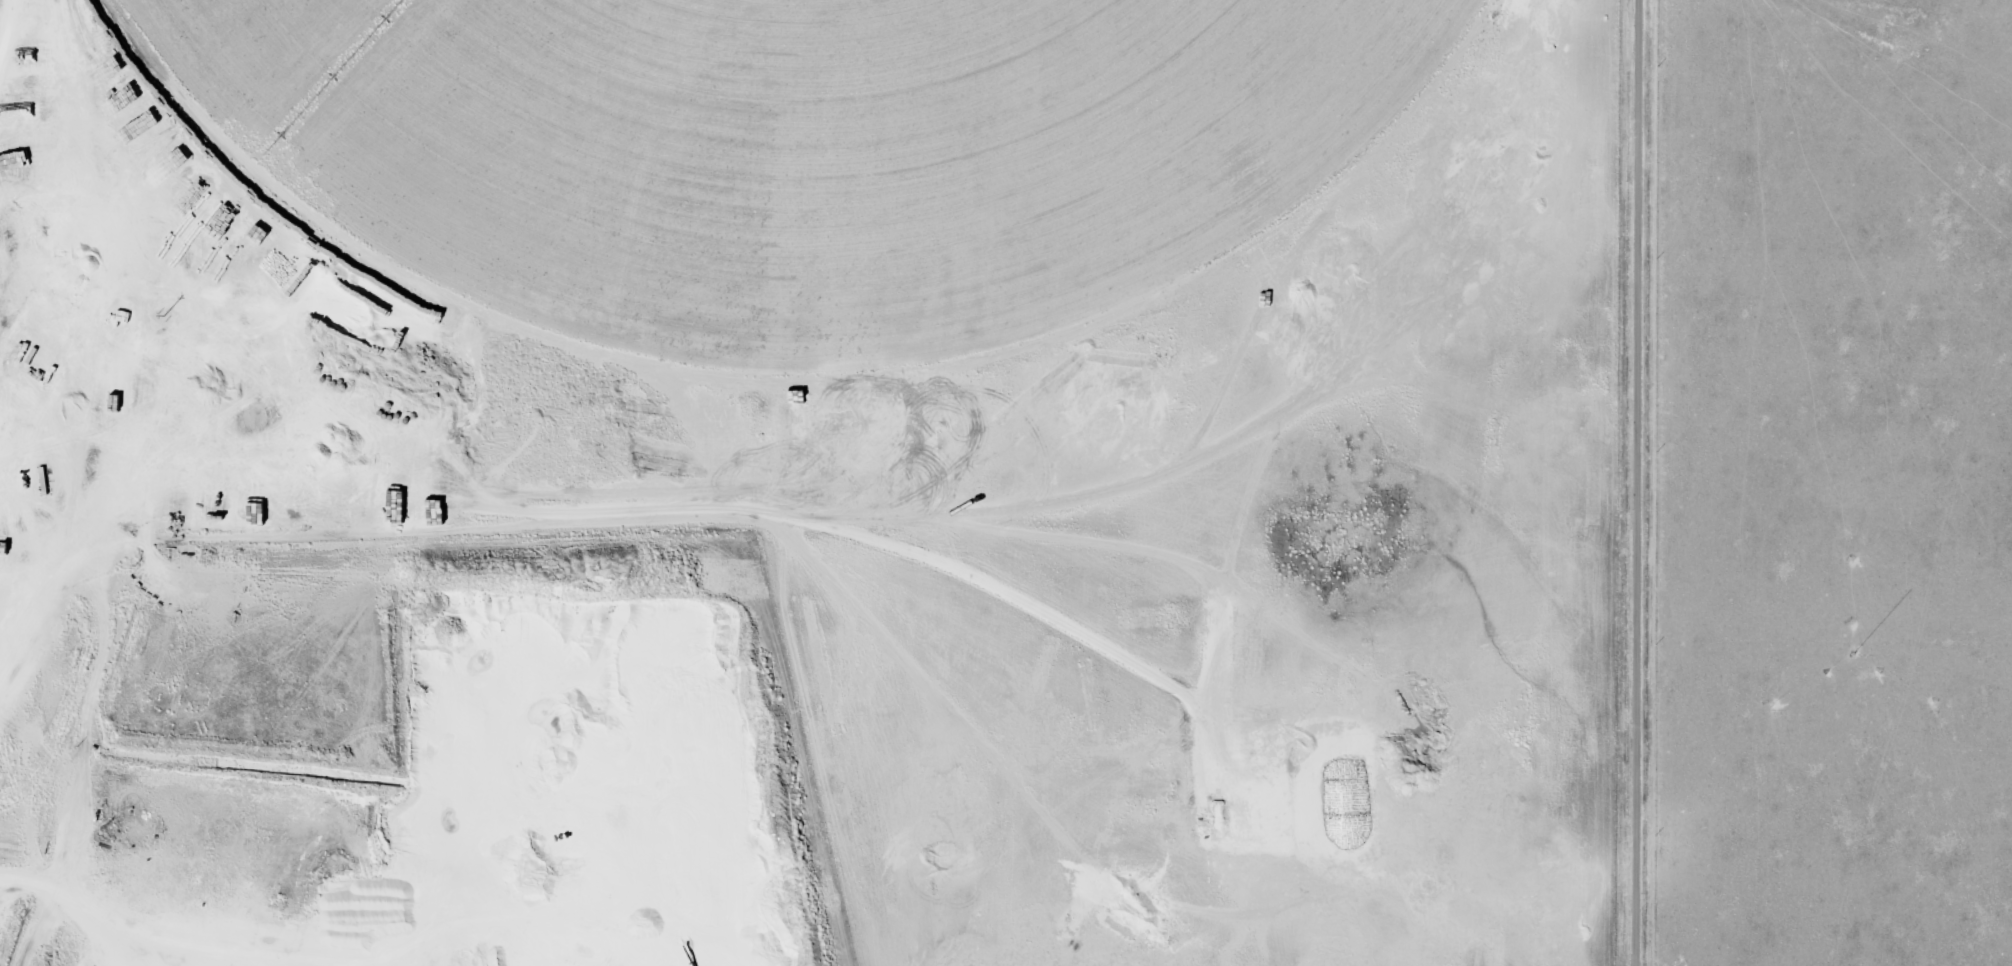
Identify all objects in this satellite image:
road: (1645, 483)

